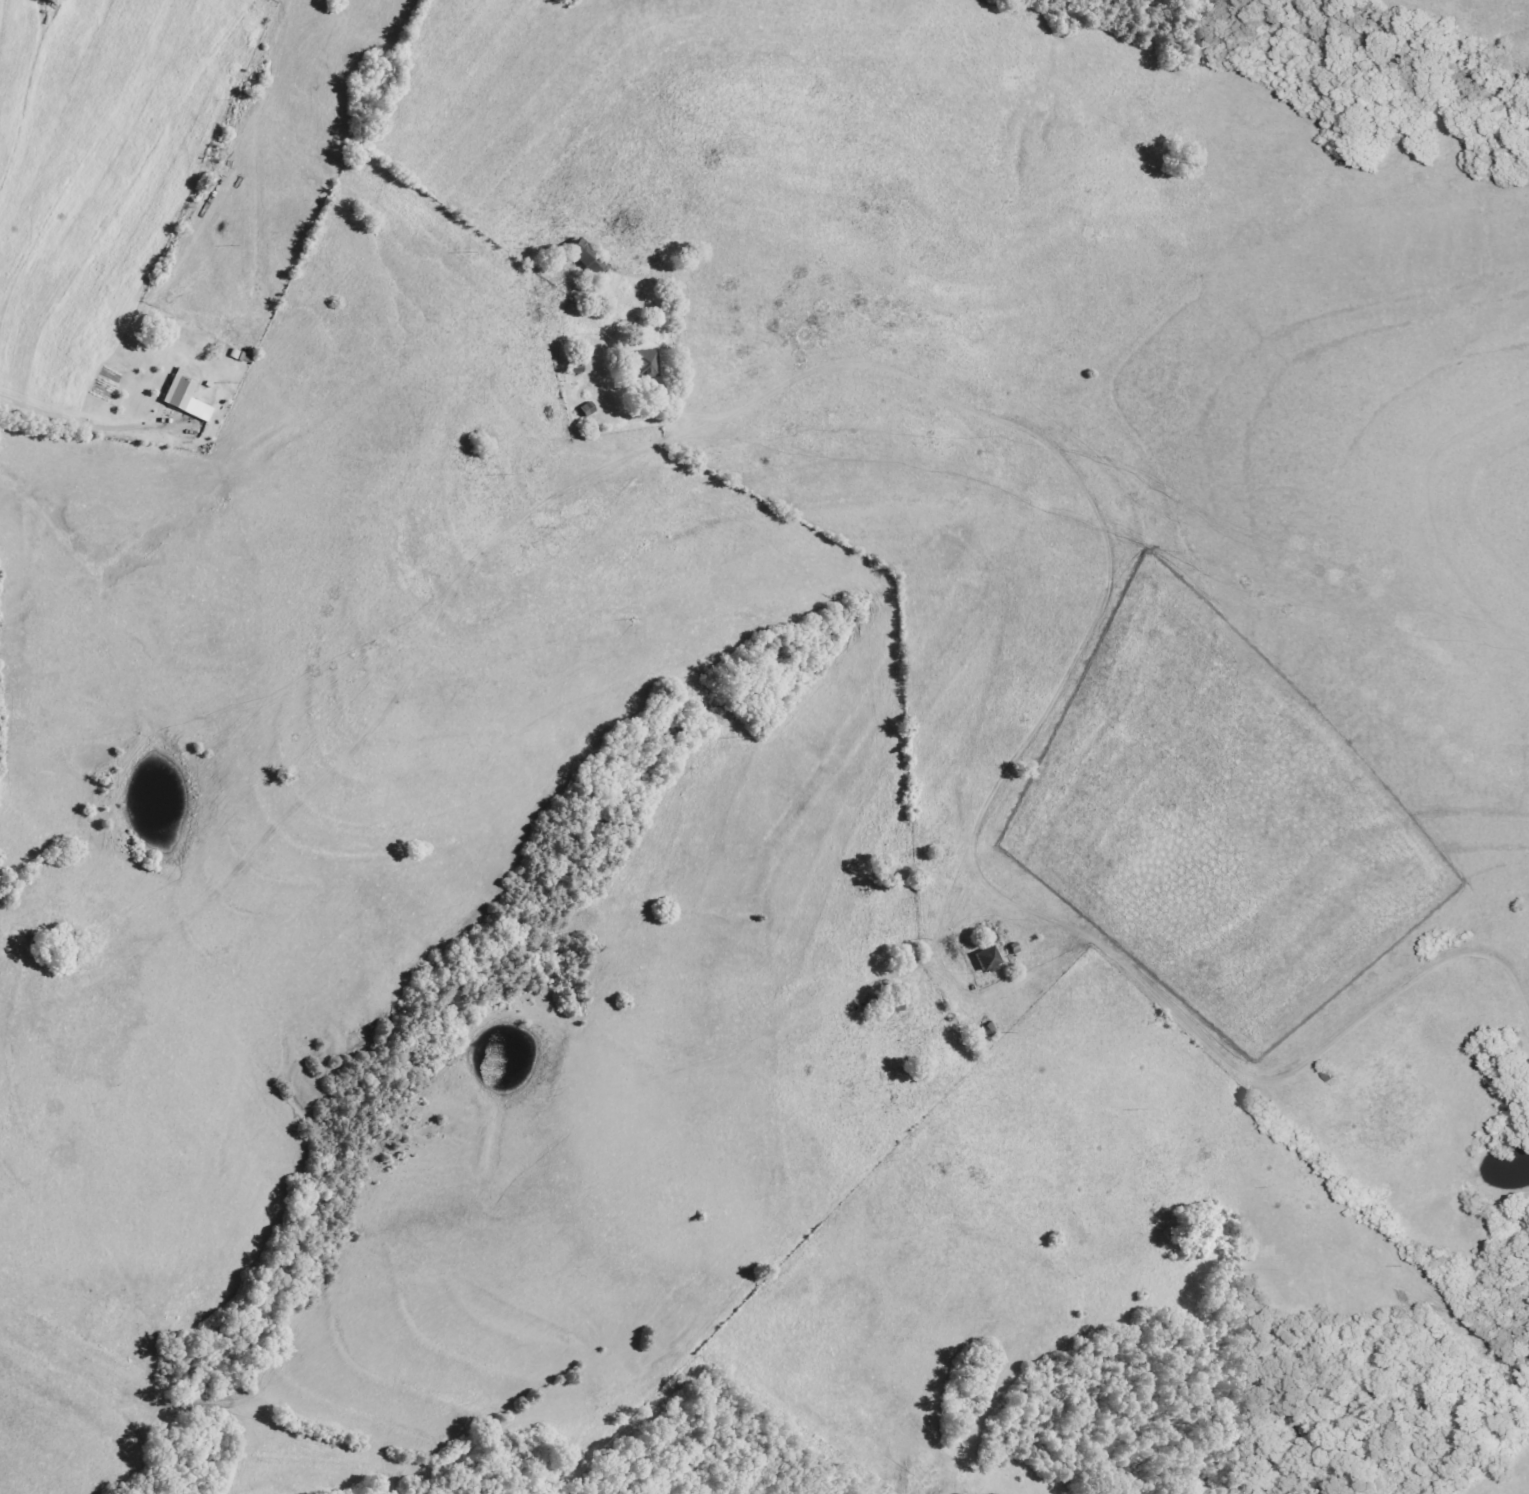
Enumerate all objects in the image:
building: (587, 258)
building: (645, 364)
road: (130, 386)
building: (185, 399)
building: (987, 961)

